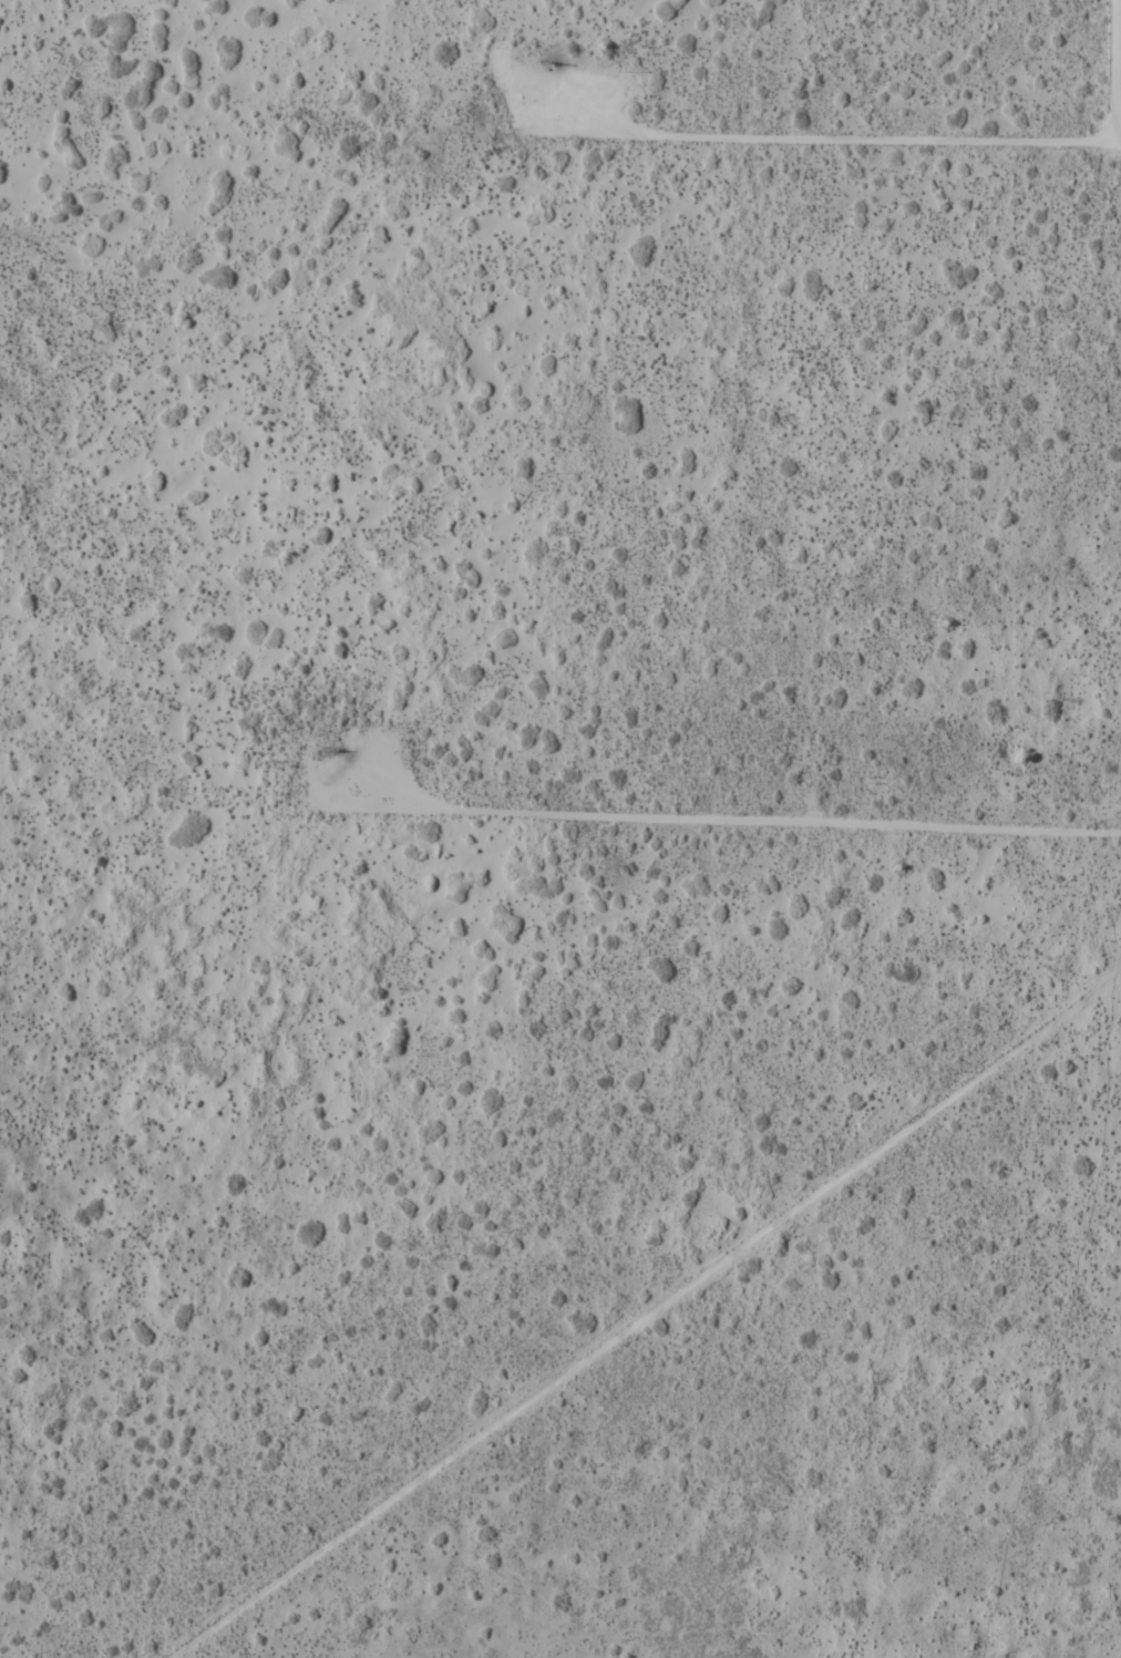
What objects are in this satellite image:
road: (839, 141)
road: (768, 823)

